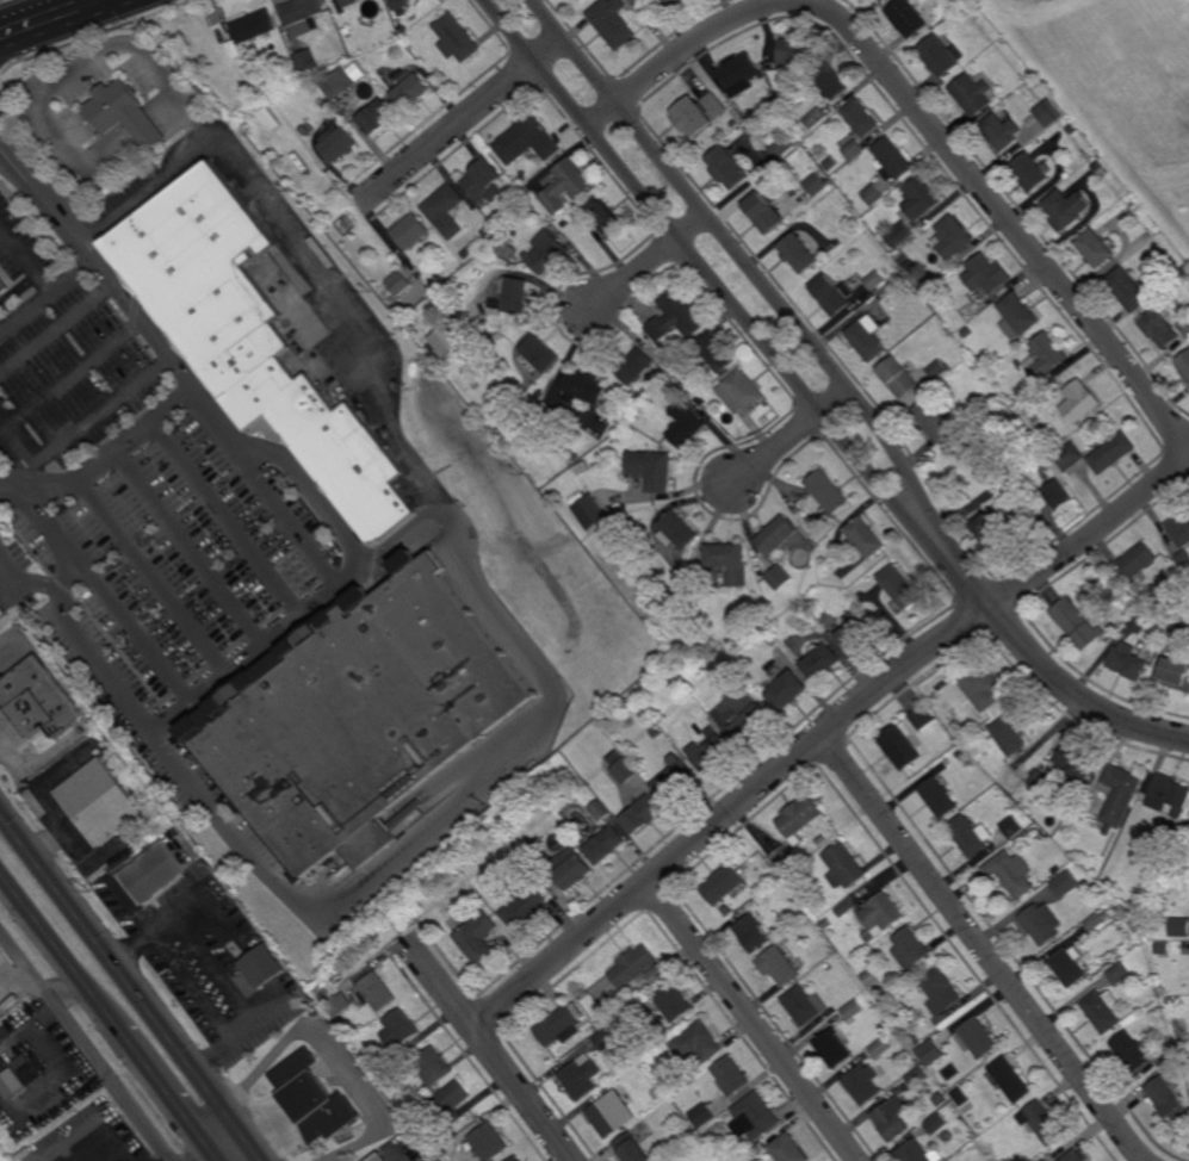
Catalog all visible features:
building: (582, 0)
building: (348, 2)
building: (675, 2)
building: (400, 6)
building: (966, 11)
building: (302, 14)
building: (908, 17)
road: (50, 19)
building: (614, 21)
building: (254, 26)
building: (346, 31)
building: (420, 31)
building: (456, 38)
building: (795, 50)
building: (385, 54)
building: (488, 54)
building: (942, 55)
building: (308, 58)
building: (774, 63)
road: (80, 70)
building: (742, 73)
building: (342, 80)
building: (832, 81)
building: (411, 89)
building: (972, 94)
building: (700, 110)
building: (125, 113)
building: (1048, 113)
building: (378, 117)
building: (817, 117)
building: (862, 117)
road: (462, 120)
building: (1070, 129)
building: (1002, 132)
building: (527, 139)
building: (340, 144)
building: (781, 147)
building: (812, 147)
building: (855, 149)
building: (894, 159)
building: (729, 167)
building: (1101, 169)
building: (1033, 172)
building: (484, 179)
building: (816, 184)
building: (566, 185)
building: (875, 194)
building: (922, 198)
building: (1134, 206)
building: (1067, 207)
building: (447, 210)
building: (533, 210)
road: (1002, 211)
building: (766, 212)
building: (605, 216)
building: (346, 224)
building: (413, 231)
building: (489, 232)
building: (902, 235)
building: (953, 240)
building: (1096, 248)
building: (547, 252)
building: (800, 253)
road: (742, 255)
building: (909, 262)
road: (101, 263)
road: (650, 263)
road: (702, 266)
building: (1183, 271)
building: (987, 274)
road: (44, 279)
building: (877, 280)
building: (401, 283)
building: (4, 285)
building: (1132, 290)
building: (835, 293)
building: (937, 293)
building: (513, 297)
building: (985, 304)
building: (967, 311)
road: (27, 312)
building: (1021, 313)
building: (677, 317)
building: (466, 327)
building: (1185, 328)
building: (1160, 329)
building: (869, 337)
building: (254, 339)
building: (445, 341)
building: (541, 354)
building: (717, 354)
building: (1046, 356)
building: (1183, 365)
building: (637, 367)
building: (937, 371)
building: (662, 374)
building: (900, 377)
building: (584, 387)
building: (742, 393)
building: (1032, 395)
building: (1080, 402)
building: (961, 417)
building: (934, 420)
building: (687, 430)
road: (792, 434)
building: (1097, 455)
building: (586, 466)
building: (654, 470)
road: (8, 486)
building: (829, 491)
building: (1058, 495)
building: (589, 513)
building: (681, 530)
building: (1001, 530)
building: (779, 536)
building: (867, 538)
building: (1181, 541)
building: (1139, 560)
building: (731, 563)
building: (780, 577)
building: (903, 589)
building: (1162, 591)
road: (483, 594)
road: (326, 601)
building: (676, 602)
building: (775, 607)
building: (2, 613)
building: (1139, 621)
building: (1077, 622)
building: (1181, 627)
building: (857, 632)
building: (452, 644)
building: (1132, 659)
building: (823, 662)
road: (1036, 662)
building: (1176, 671)
building: (981, 685)
building: (789, 689)
building: (631, 700)
building: (38, 701)
building: (749, 713)
building: (924, 716)
building: (655, 732)
building: (1008, 735)
building: (334, 739)
building: (902, 746)
building: (713, 750)
building: (959, 753)
building: (615, 757)
building: (1078, 760)
building: (1020, 764)
building: (625, 771)
building: (675, 780)
building: (1040, 780)
building: (1120, 793)
building: (1168, 795)
building: (940, 797)
building: (1145, 799)
building: (103, 803)
building: (600, 811)
road: (729, 813)
building: (640, 815)
building: (801, 818)
building: (1011, 827)
building: (1108, 828)
building: (1173, 828)
building: (968, 836)
building: (823, 839)
building: (603, 844)
building: (520, 850)
building: (534, 855)
building: (785, 858)
building: (846, 865)
building: (570, 868)
building: (1057, 870)
building: (1011, 873)
building: (156, 875)
building: (1166, 881)
building: (723, 883)
building: (1065, 883)
building: (803, 889)
power tower: (92, 895)
building: (217, 895)
building: (792, 899)
building: (859, 901)
building: (525, 905)
building: (883, 913)
building: (1041, 923)
building: (1095, 923)
building: (1179, 926)
building: (831, 932)
building: (753, 935)
building: (477, 938)
building: (1163, 948)
building: (912, 949)
road: (983, 949)
road: (60, 951)
building: (633, 966)
building: (779, 966)
building: (1071, 967)
road: (118, 971)
building: (260, 973)
building: (1120, 973)
building: (657, 975)
building: (867, 976)
road: (16, 980)
building: (348, 986)
road: (67, 989)
building: (377, 992)
building: (942, 992)
building: (674, 1001)
building: (310, 1002)
building: (339, 1005)
building: (805, 1005)
building: (837, 1006)
building: (853, 1010)
building: (1104, 1012)
building: (602, 1022)
road: (750, 1022)
building: (561, 1025)
building: (400, 1027)
building: (976, 1036)
building: (605, 1038)
building: (696, 1044)
road: (88, 1045)
building: (834, 1048)
building: (880, 1048)
road: (487, 1050)
building: (1139, 1051)
building: (925, 1054)
building: (390, 1057)
building: (434, 1066)
building: (32, 1068)
building: (731, 1075)
building: (581, 1076)
building: (918, 1078)
power tower: (234, 1079)
building: (1011, 1080)
building: (863, 1084)
road: (167, 1092)
building: (960, 1097)
building: (315, 1098)
building: (940, 1099)
building: (1169, 1101)
building: (448, 1104)
building: (611, 1113)
building: (702, 1116)
building: (755, 1117)
building: (892, 1119)
building: (1042, 1123)
building: (936, 1124)
building: (488, 1142)
road: (218, 1146)
road: (249, 1146)
building: (631, 1148)
building: (787, 1149)
building: (919, 1153)
road: (216, 1156)
building: (376, 1156)
building: (1077, 1156)
building: (515, 1159)
building: (124, 1160)
building: (729, 1160)
building: (1045, 1160)

